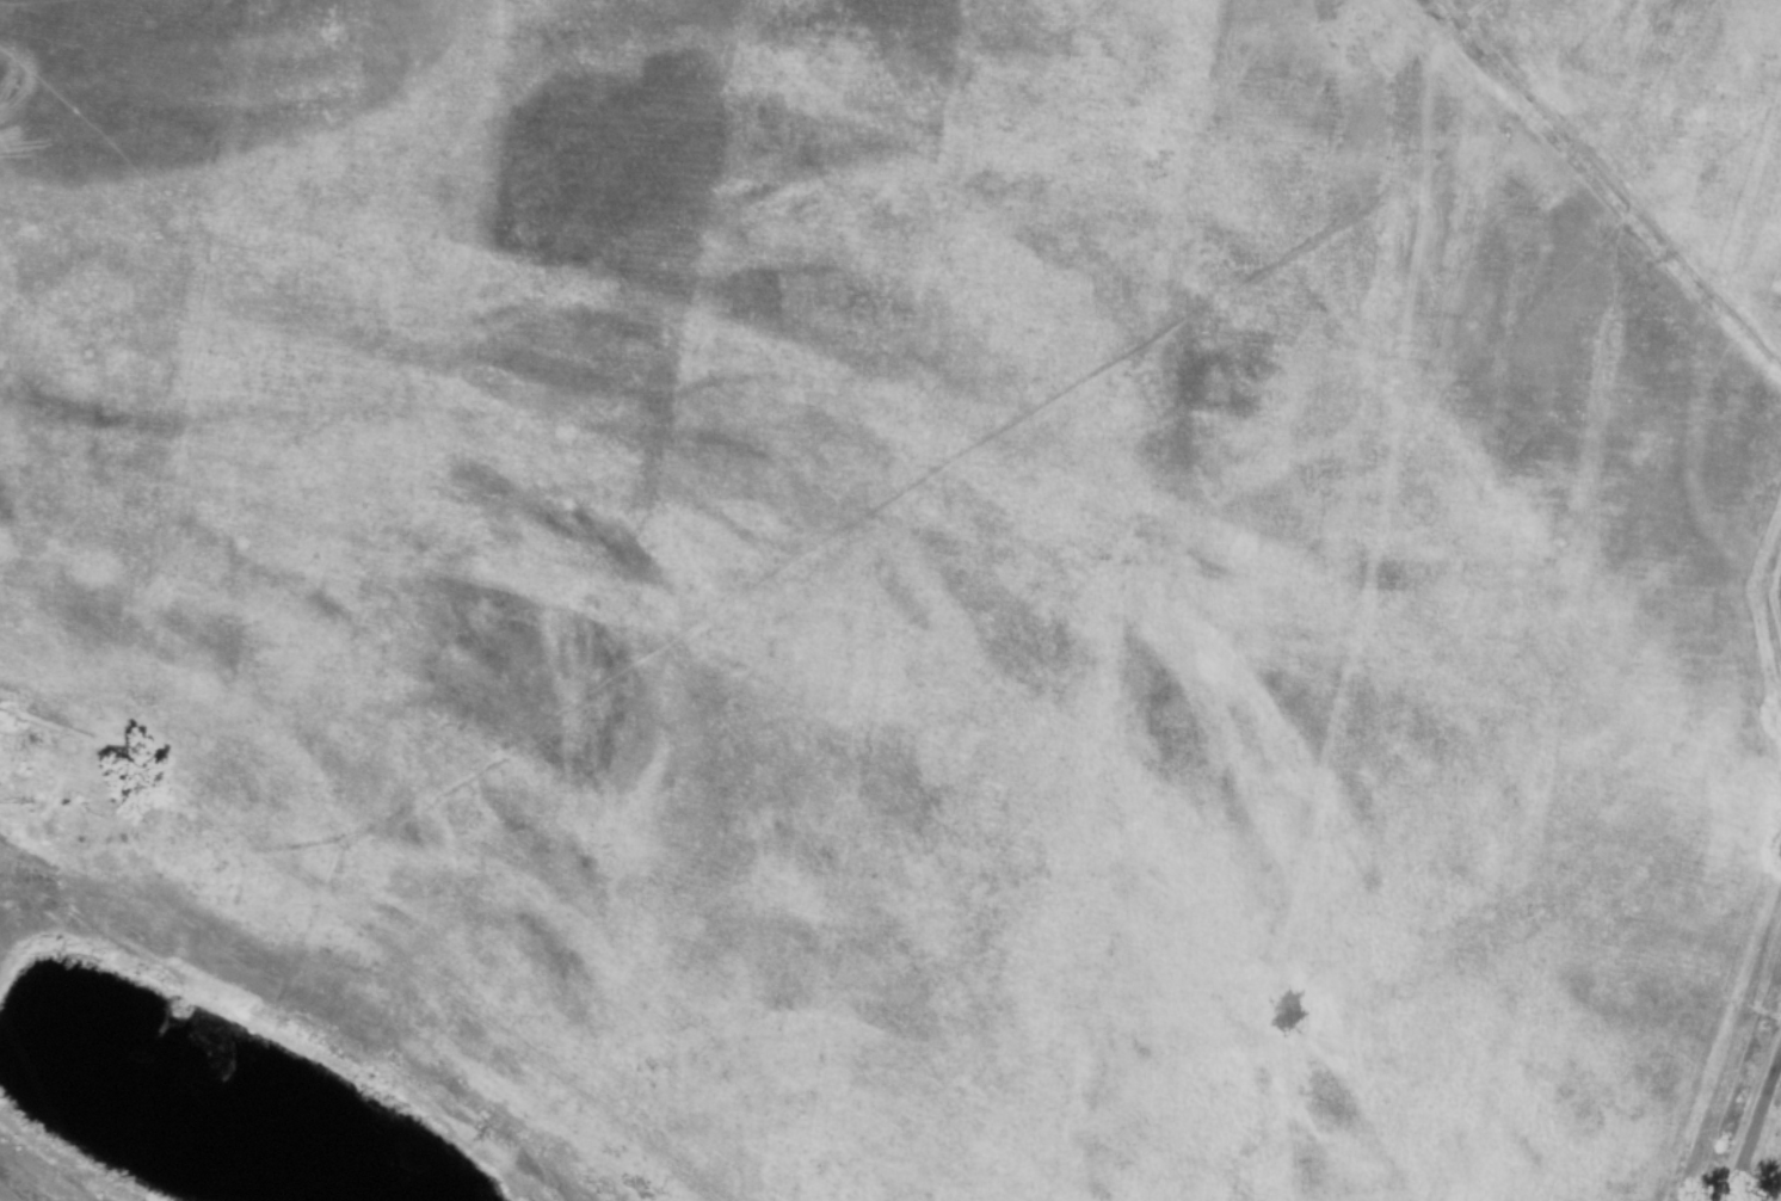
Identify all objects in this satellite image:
road: (1752, 1121)

